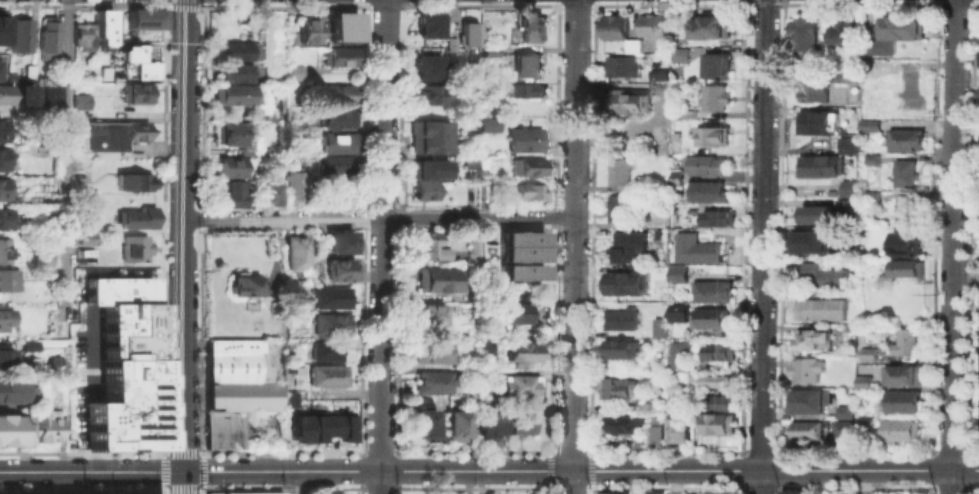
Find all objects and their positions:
building: (143, 16)
building: (100, 22)
building: (427, 24)
building: (651, 25)
building: (342, 26)
building: (613, 26)
building: (711, 27)
building: (1, 28)
building: (531, 28)
building: (77, 31)
building: (304, 32)
building: (839, 32)
building: (466, 33)
building: (891, 33)
building: (19, 35)
building: (803, 36)
building: (47, 37)
building: (448, 47)
building: (238, 50)
building: (679, 54)
building: (339, 56)
building: (853, 58)
building: (978, 58)
building: (623, 60)
building: (130, 61)
building: (525, 64)
building: (425, 65)
building: (715, 65)
building: (0, 71)
building: (29, 71)
building: (295, 72)
building: (659, 74)
building: (11, 75)
building: (844, 77)
building: (234, 85)
building: (525, 90)
building: (813, 91)
building: (908, 91)
building: (978, 91)
building: (138, 92)
building: (829, 93)
building: (5, 94)
building: (23, 94)
building: (339, 94)
building: (428, 94)
building: (714, 98)
building: (626, 99)
building: (81, 101)
building: (687, 111)
building: (338, 118)
building: (815, 123)
building: (489, 124)
building: (867, 125)
building: (2, 129)
building: (232, 133)
building: (110, 135)
building: (710, 135)
building: (432, 136)
building: (659, 136)
building: (524, 139)
building: (336, 140)
building: (903, 140)
building: (846, 144)
road: (67, 151)
building: (873, 157)
building: (4, 159)
building: (702, 162)
building: (335, 164)
building: (230, 166)
building: (528, 166)
building: (818, 166)
building: (617, 171)
building: (904, 173)
building: (425, 177)
building: (672, 178)
building: (133, 182)
building: (293, 185)
building: (846, 186)
building: (4, 189)
building: (526, 190)
building: (706, 191)
building: (268, 192)
building: (227, 193)
building: (870, 194)
building: (846, 200)
building: (613, 206)
building: (902, 209)
building: (816, 214)
road: (475, 216)
road: (281, 217)
building: (718, 217)
building: (135, 218)
building: (5, 219)
building: (652, 224)
building: (656, 233)
road: (570, 234)
road: (951, 234)
road: (182, 235)
road: (381, 235)
road: (762, 235)
building: (520, 238)
building: (902, 238)
building: (87, 239)
building: (809, 239)
building: (339, 243)
building: (625, 244)
building: (428, 247)
building: (692, 248)
building: (133, 249)
building: (4, 251)
building: (471, 252)
building: (520, 252)
building: (296, 253)
building: (44, 264)
building: (907, 269)
building: (338, 270)
building: (520, 271)
building: (822, 274)
building: (676, 275)
building: (9, 280)
building: (437, 280)
building: (625, 283)
building: (238, 284)
building: (711, 291)
building: (328, 298)
building: (247, 304)
building: (819, 309)
building: (675, 312)
building: (428, 315)
building: (509, 315)
building: (708, 318)
building: (5, 319)
building: (618, 319)
building: (328, 325)
building: (657, 326)
building: (814, 340)
building: (902, 341)
building: (231, 344)
building: (483, 347)
building: (518, 349)
building: (428, 350)
building: (619, 350)
building: (325, 351)
building: (716, 352)
building: (678, 353)
building: (866, 354)
building: (7, 358)
building: (124, 365)
building: (805, 369)
building: (458, 370)
building: (483, 373)
building: (901, 375)
building: (327, 376)
building: (429, 380)
building: (710, 380)
building: (239, 381)
building: (862, 381)
building: (519, 384)
building: (621, 385)
building: (605, 386)
building: (670, 386)
building: (11, 389)
building: (288, 398)
building: (810, 399)
building: (901, 402)
building: (716, 403)
building: (845, 410)
building: (423, 424)
building: (521, 424)
building: (623, 424)
building: (717, 424)
building: (320, 425)
building: (30, 426)
building: (490, 426)
building: (455, 427)
building: (673, 427)
building: (863, 427)
building: (222, 428)
building: (655, 428)
building: (897, 429)
building: (806, 430)
building: (842, 433)
road: (81, 451)
road: (182, 451)
road: (202, 451)
road: (162, 452)
road: (774, 469)
road: (162, 470)
road: (202, 470)
road: (91, 471)
traffic signals: (183, 471)
road: (376, 471)
road: (949, 481)
road: (183, 482)
road: (380, 482)
road: (569, 482)
road: (759, 482)
road: (182, 489)
road: (203, 489)
road: (80, 490)
road: (161, 490)
road: (201, 491)
building: (789, 491)
road: (162, 492)
building: (246, 492)
building: (607, 492)
building: (652, 493)

